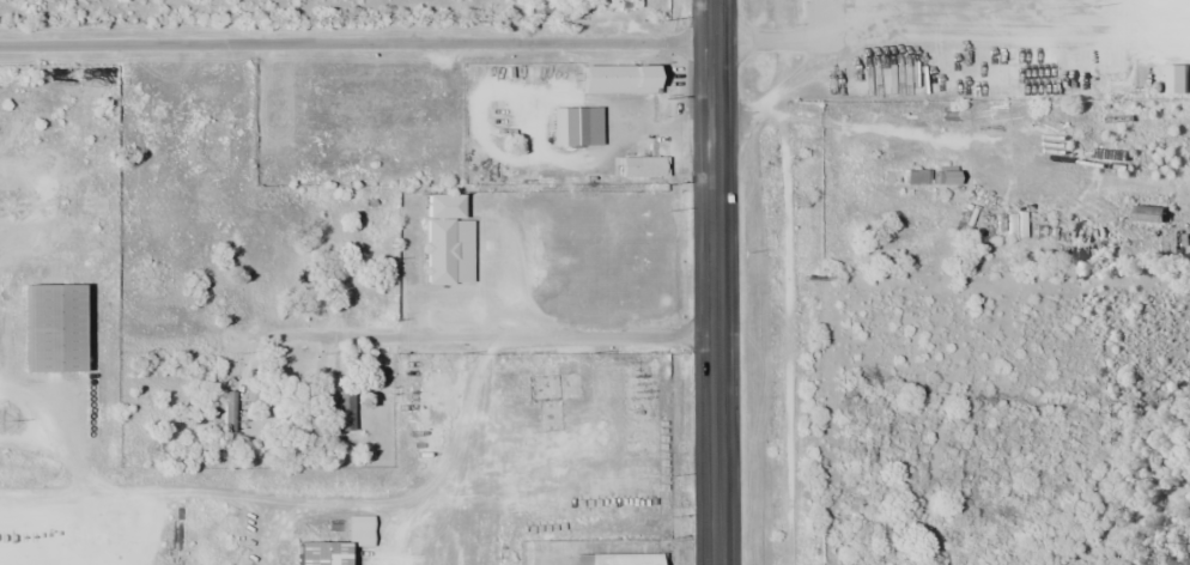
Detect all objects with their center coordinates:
building: (541, 10)
road: (887, 17)
road: (777, 38)
road: (357, 42)
building: (617, 79)
building: (350, 86)
road: (782, 92)
building: (575, 126)
building: (206, 150)
building: (335, 153)
road: (1007, 156)
building: (642, 166)
building: (915, 177)
building: (942, 177)
building: (1148, 214)
building: (899, 226)
building: (445, 241)
road: (714, 282)
railway: (787, 282)
building: (260, 284)
building: (50, 328)
road: (496, 338)
building: (342, 409)
building: (227, 413)
building: (320, 552)
building: (617, 558)

